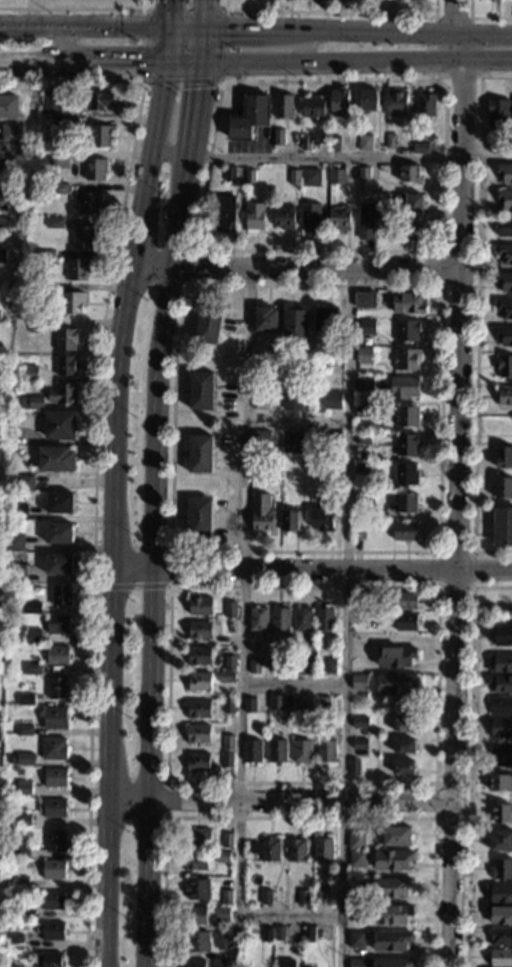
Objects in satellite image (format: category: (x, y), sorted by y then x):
traffic signals: (169, 4)
road: (76, 8)
road: (220, 9)
road: (331, 12)
road: (169, 13)
road: (207, 14)
road: (468, 17)
road: (482, 17)
road: (84, 28)
road: (188, 29)
traffic signals: (227, 30)
road: (359, 32)
road: (167, 44)
road: (207, 45)
road: (304, 46)
road: (82, 60)
traffic signals: (140, 60)
road: (186, 60)
road: (359, 61)
traffic signals: (203, 87)
building: (368, 100)
building: (338, 101)
building: (52, 103)
building: (99, 103)
building: (395, 103)
building: (424, 104)
building: (282, 107)
building: (313, 107)
building: (9, 109)
road: (200, 109)
building: (498, 113)
building: (249, 118)
building: (71, 124)
building: (9, 135)
building: (99, 137)
building: (278, 137)
building: (389, 141)
building: (305, 143)
building: (364, 143)
building: (334, 144)
building: (495, 147)
building: (419, 148)
road: (173, 156)
road: (353, 159)
building: (59, 160)
building: (11, 169)
building: (96, 171)
building: (504, 173)
building: (229, 175)
building: (363, 175)
building: (409, 175)
building: (335, 177)
building: (249, 178)
building: (294, 178)
building: (311, 178)
building: (61, 191)
building: (6, 198)
building: (505, 199)
building: (410, 204)
building: (90, 205)
building: (366, 212)
building: (224, 214)
building: (253, 217)
building: (309, 217)
building: (283, 218)
building: (338, 218)
building: (55, 225)
building: (4, 227)
building: (504, 228)
building: (364, 231)
building: (408, 231)
building: (84, 238)
road: (430, 250)
building: (504, 254)
building: (2, 256)
building: (48, 259)
road: (189, 265)
road: (298, 269)
building: (78, 271)
building: (504, 282)
road: (441, 285)
building: (2, 288)
building: (49, 292)
building: (362, 300)
building: (406, 303)
building: (74, 306)
building: (504, 308)
road: (475, 316)
building: (264, 319)
building: (324, 319)
building: (294, 323)
building: (209, 324)
building: (365, 327)
building: (37, 328)
building: (405, 331)
building: (504, 336)
building: (67, 341)
building: (362, 355)
building: (404, 360)
building: (503, 366)
building: (67, 367)
building: (29, 376)
building: (362, 383)
building: (403, 388)
building: (200, 391)
building: (64, 396)
building: (503, 396)
building: (330, 401)
building: (260, 402)
building: (291, 403)
building: (33, 404)
building: (0, 406)
building: (360, 411)
building: (25, 415)
building: (405, 416)
road: (297, 421)
building: (61, 427)
building: (2, 439)
building: (260, 439)
building: (332, 439)
building: (362, 440)
building: (290, 442)
building: (405, 444)
road: (93, 451)
building: (199, 455)
building: (503, 457)
building: (57, 461)
building: (361, 468)
building: (404, 474)
road: (456, 483)
building: (26, 485)
building: (502, 488)
building: (364, 500)
building: (406, 503)
building: (60, 505)
road: (115, 511)
building: (2, 512)
building: (261, 514)
building: (20, 516)
building: (198, 517)
building: (320, 520)
building: (288, 521)
building: (502, 527)
building: (403, 531)
building: (357, 532)
building: (60, 536)
building: (2, 542)
building: (15, 545)
road: (148, 548)
road: (175, 550)
road: (158, 561)
building: (59, 566)
road: (313, 568)
building: (19, 576)
road: (129, 586)
road: (471, 587)
building: (62, 598)
building: (405, 600)
building: (355, 602)
building: (503, 603)
building: (200, 607)
building: (33, 610)
building: (228, 610)
road: (242, 618)
building: (301, 619)
building: (322, 619)
road: (345, 619)
building: (257, 620)
building: (280, 620)
building: (404, 622)
building: (59, 627)
building: (229, 627)
building: (198, 631)
building: (503, 637)
building: (33, 639)
building: (359, 653)
building: (198, 656)
building: (394, 657)
building: (58, 658)
building: (227, 662)
building: (500, 663)
building: (275, 666)
building: (297, 666)
building: (253, 667)
building: (329, 667)
building: (33, 672)
building: (225, 677)
building: (197, 682)
building: (394, 684)
building: (500, 684)
road: (292, 685)
building: (358, 686)
building: (59, 691)
building: (27, 702)
building: (275, 703)
building: (323, 704)
building: (247, 705)
building: (298, 705)
building: (228, 706)
building: (500, 707)
building: (197, 710)
building: (56, 721)
building: (358, 723)
building: (402, 725)
building: (501, 728)
building: (25, 733)
building: (197, 735)
building: (226, 743)
building: (358, 744)
building: (402, 746)
building: (55, 749)
building: (251, 751)
building: (276, 752)
building: (299, 752)
building: (324, 753)
building: (500, 756)
road: (469, 757)
building: (226, 760)
building: (26, 761)
building: (195, 762)
building: (352, 766)
building: (402, 767)
building: (57, 779)
road: (144, 781)
road: (165, 781)
building: (500, 782)
building: (23, 788)
road: (434, 798)
road: (284, 799)
building: (54, 810)
building: (501, 812)
road: (299, 817)
building: (22, 821)
building: (396, 837)
building: (197, 838)
building: (226, 841)
building: (355, 841)
building: (501, 841)
building: (55, 843)
building: (322, 850)
building: (264, 851)
building: (295, 851)
building: (22, 852)
building: (221, 857)
building: (356, 859)
building: (391, 860)
building: (194, 862)
building: (500, 869)
building: (55, 871)
building: (21, 884)
building: (196, 889)
building: (391, 889)
building: (499, 894)
building: (317, 895)
building: (264, 897)
building: (226, 898)
building: (299, 898)
building: (52, 901)
building: (355, 913)
building: (20, 914)
building: (391, 914)
building: (222, 915)
building: (499, 915)
building: (193, 916)
road: (288, 916)
building: (52, 931)
building: (278, 933)
building: (307, 934)
building: (266, 935)
building: (501, 938)
building: (355, 941)
building: (196, 942)
building: (221, 942)
building: (390, 942)
building: (16, 944)
building: (500, 958)
building: (51, 960)
building: (219, 963)
building: (284, 963)
building: (355, 963)
building: (391, 963)
building: (192, 964)
building: (14, 965)

